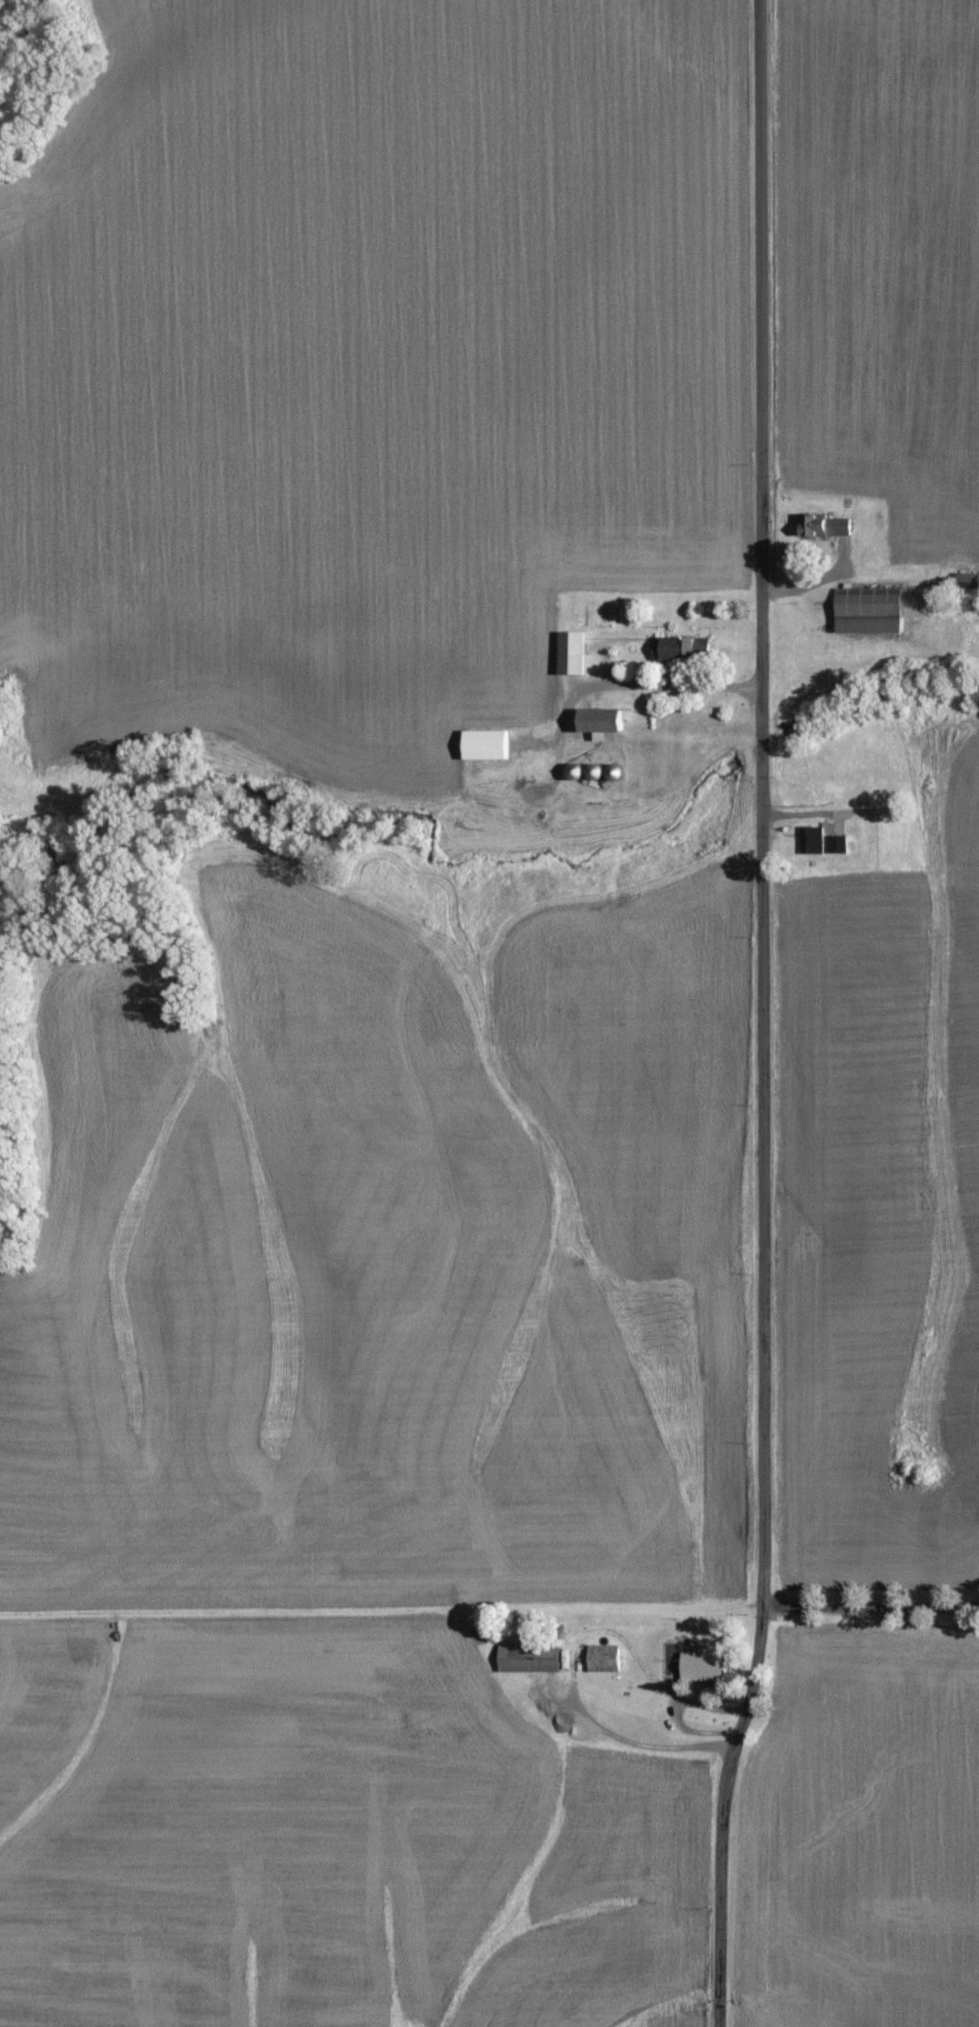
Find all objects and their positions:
building: (829, 527)
building: (870, 610)
building: (573, 653)
building: (603, 722)
building: (487, 745)
building: (811, 840)
building: (838, 844)
road: (772, 1016)
road: (874, 1622)
road: (569, 1657)
building: (530, 1660)
building: (605, 1660)
building: (706, 1667)
road: (690, 1731)

